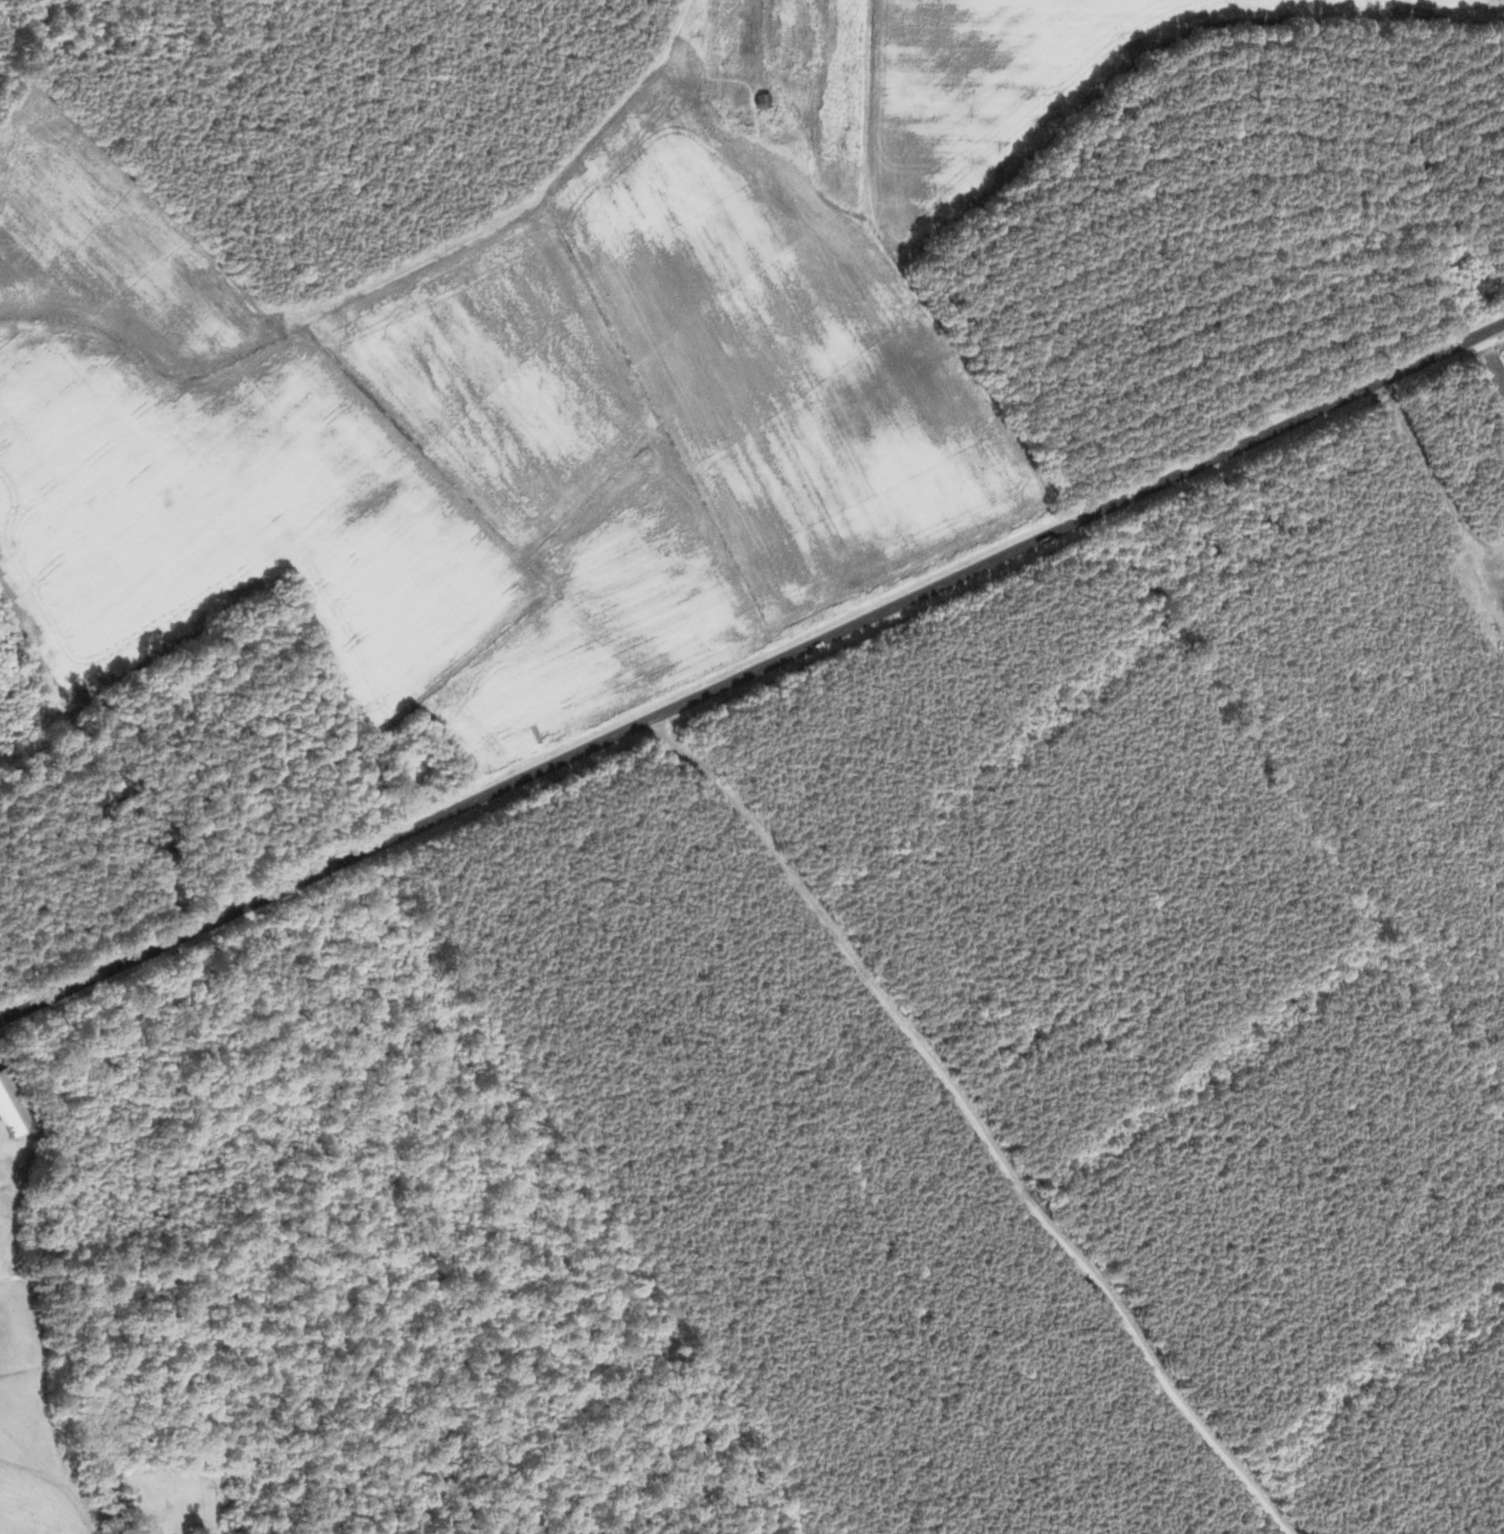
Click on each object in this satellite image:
building: (759, 101)
road: (752, 673)
road: (14, 1105)
building: (10, 1110)
road: (971, 1125)
road: (60, 1285)
building: (151, 1532)

